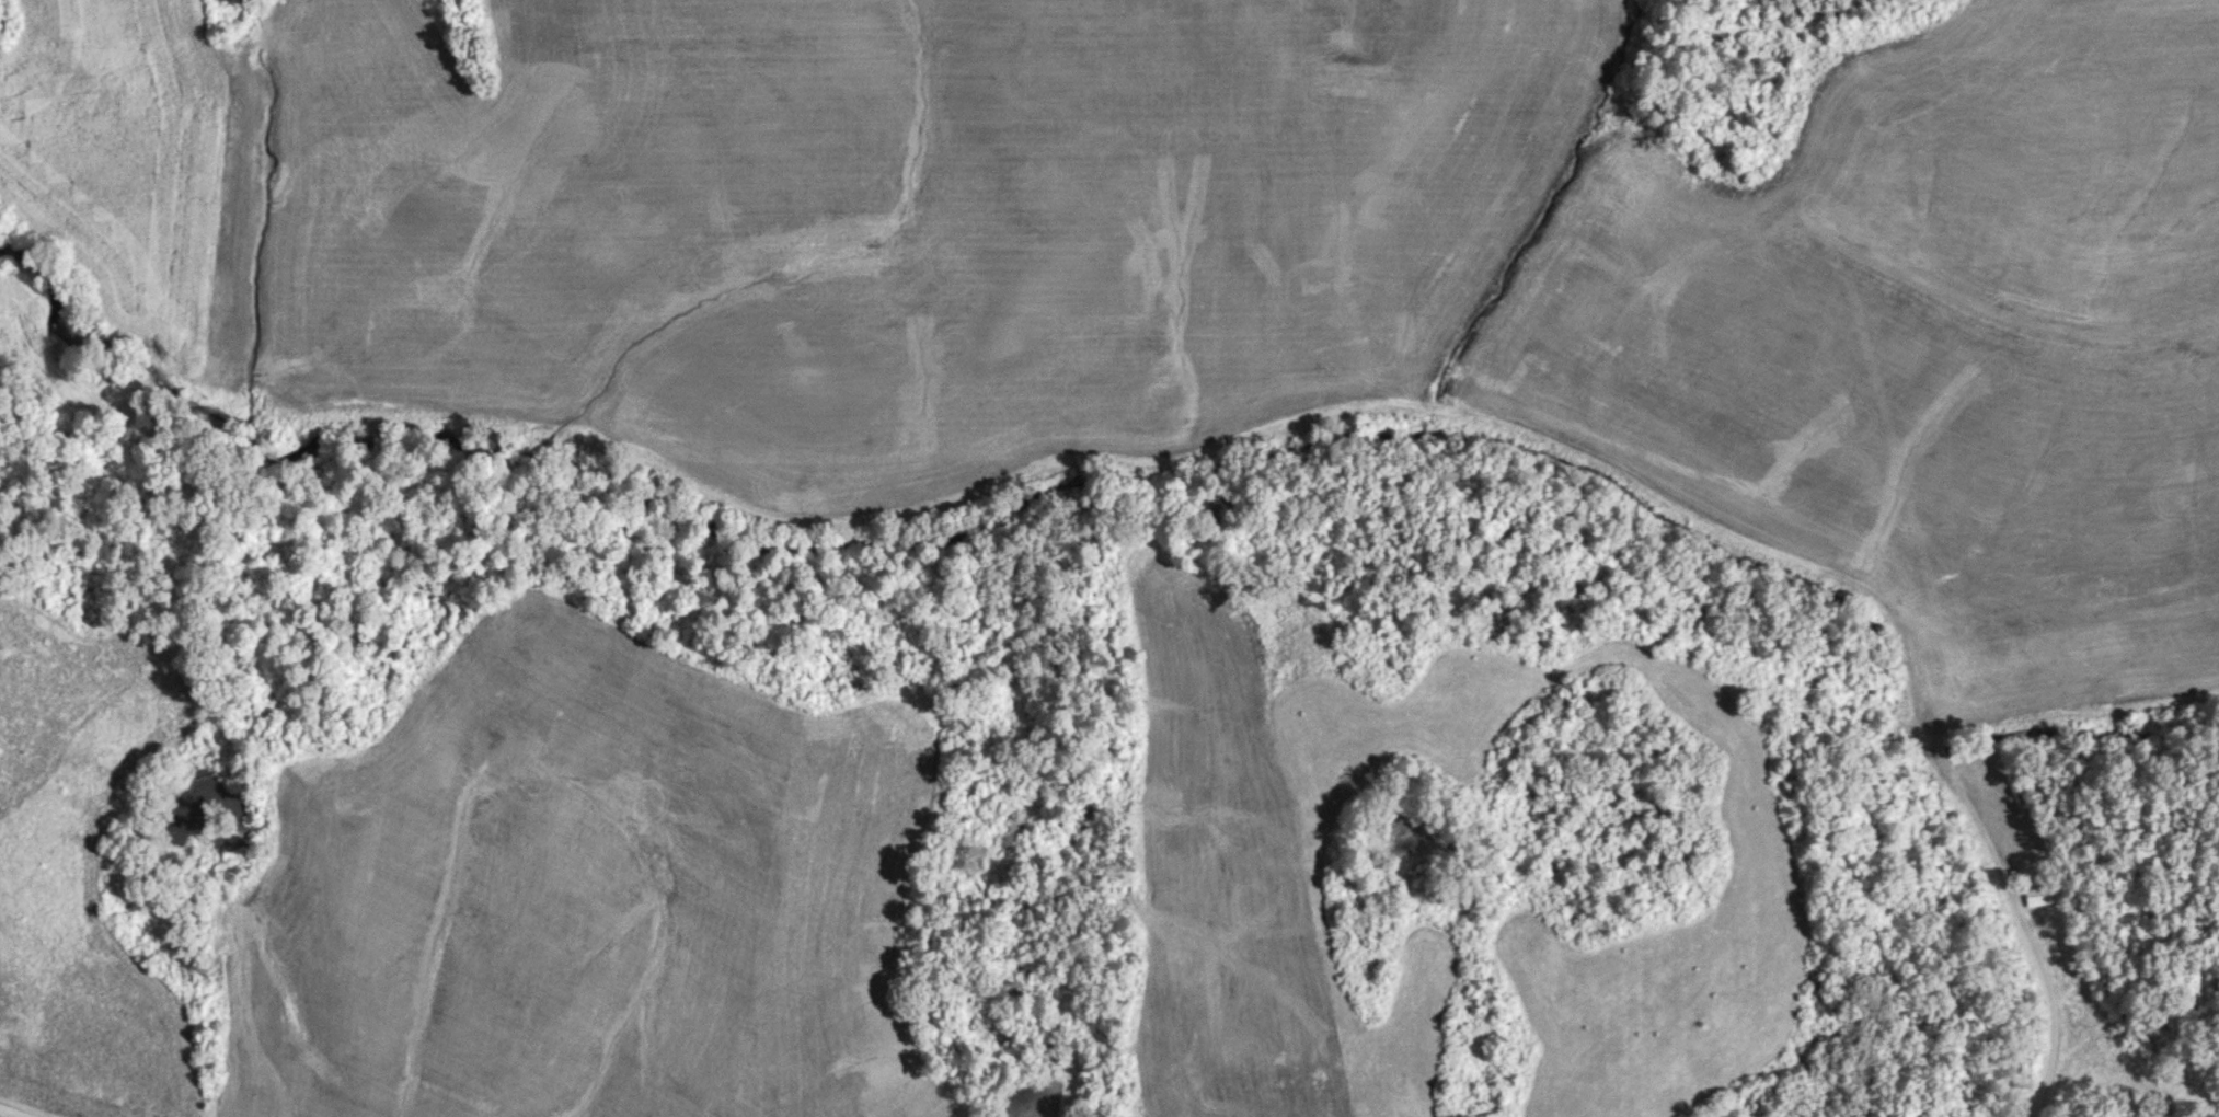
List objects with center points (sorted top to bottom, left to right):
crop: (81, 878)
building: (2035, 895)
road: (2047, 1005)
road: (16, 1112)

